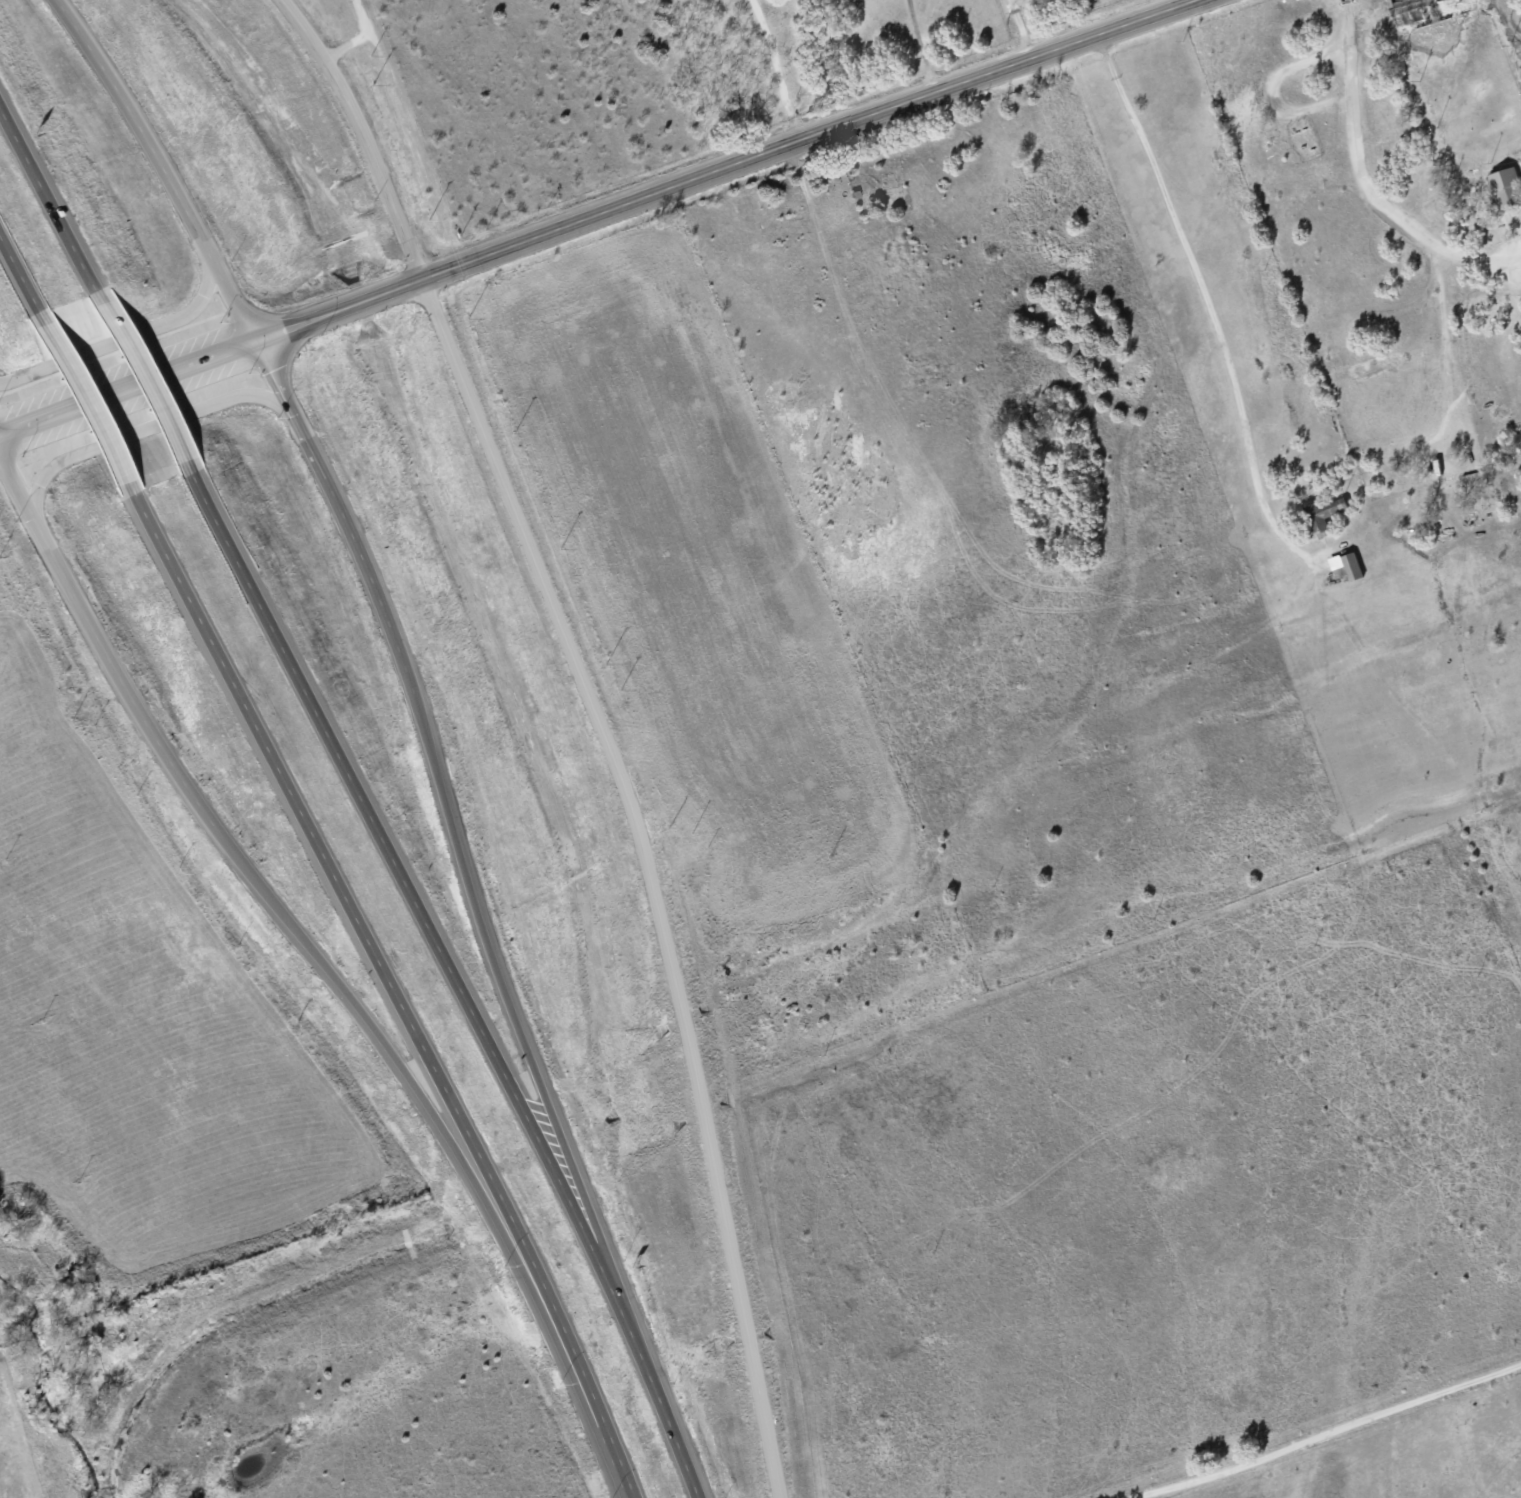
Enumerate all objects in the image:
road: (1019, 30)
road: (358, 38)
road: (918, 48)
road: (779, 70)
road: (926, 98)
road: (160, 166)
road: (1366, 180)
building: (1504, 186)
road: (49, 202)
road: (20, 275)
road: (1208, 305)
road: (325, 315)
road: (122, 338)
road: (141, 379)
road: (84, 400)
road: (137, 431)
building: (1322, 512)
building: (1344, 565)
road: (598, 725)
road: (454, 841)
road: (414, 904)
road: (279, 911)
road: (356, 916)
road: (667, 1423)
road: (599, 1424)
road: (1329, 1432)

